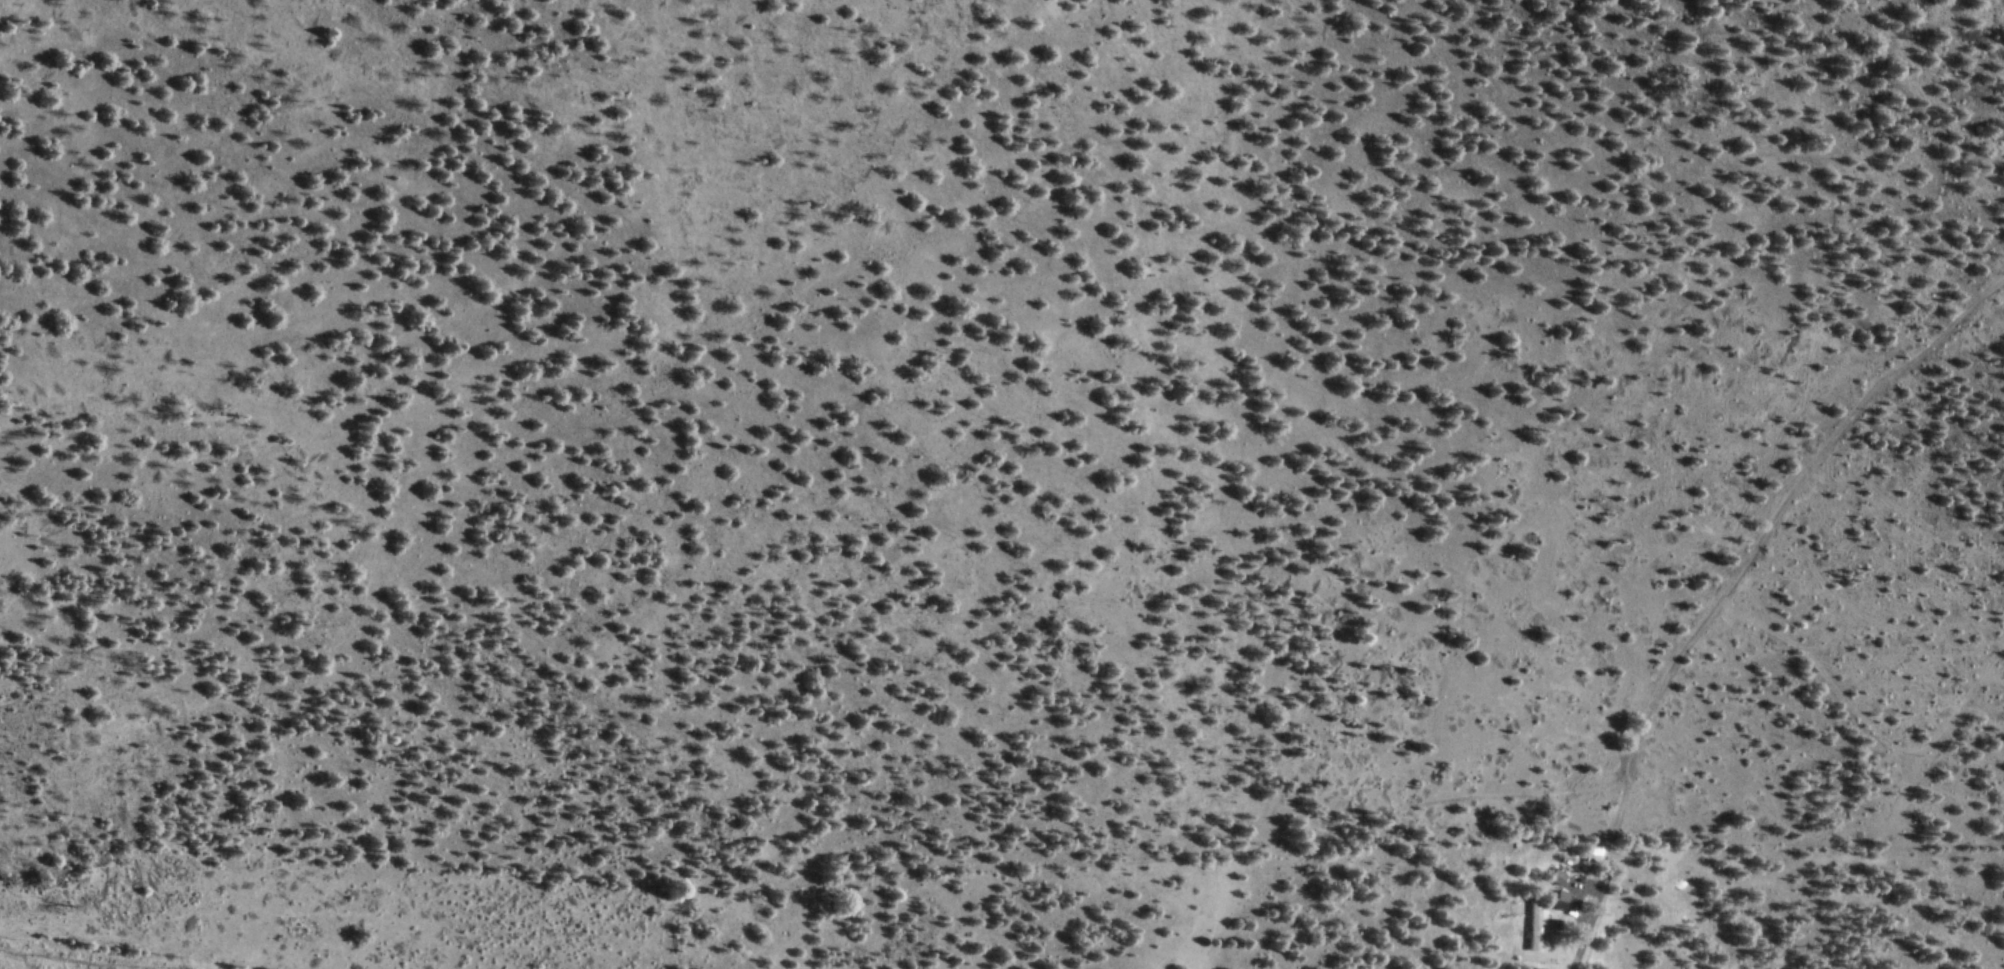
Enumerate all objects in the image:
building: (1560, 877)
building: (1537, 926)
road: (1587, 929)

